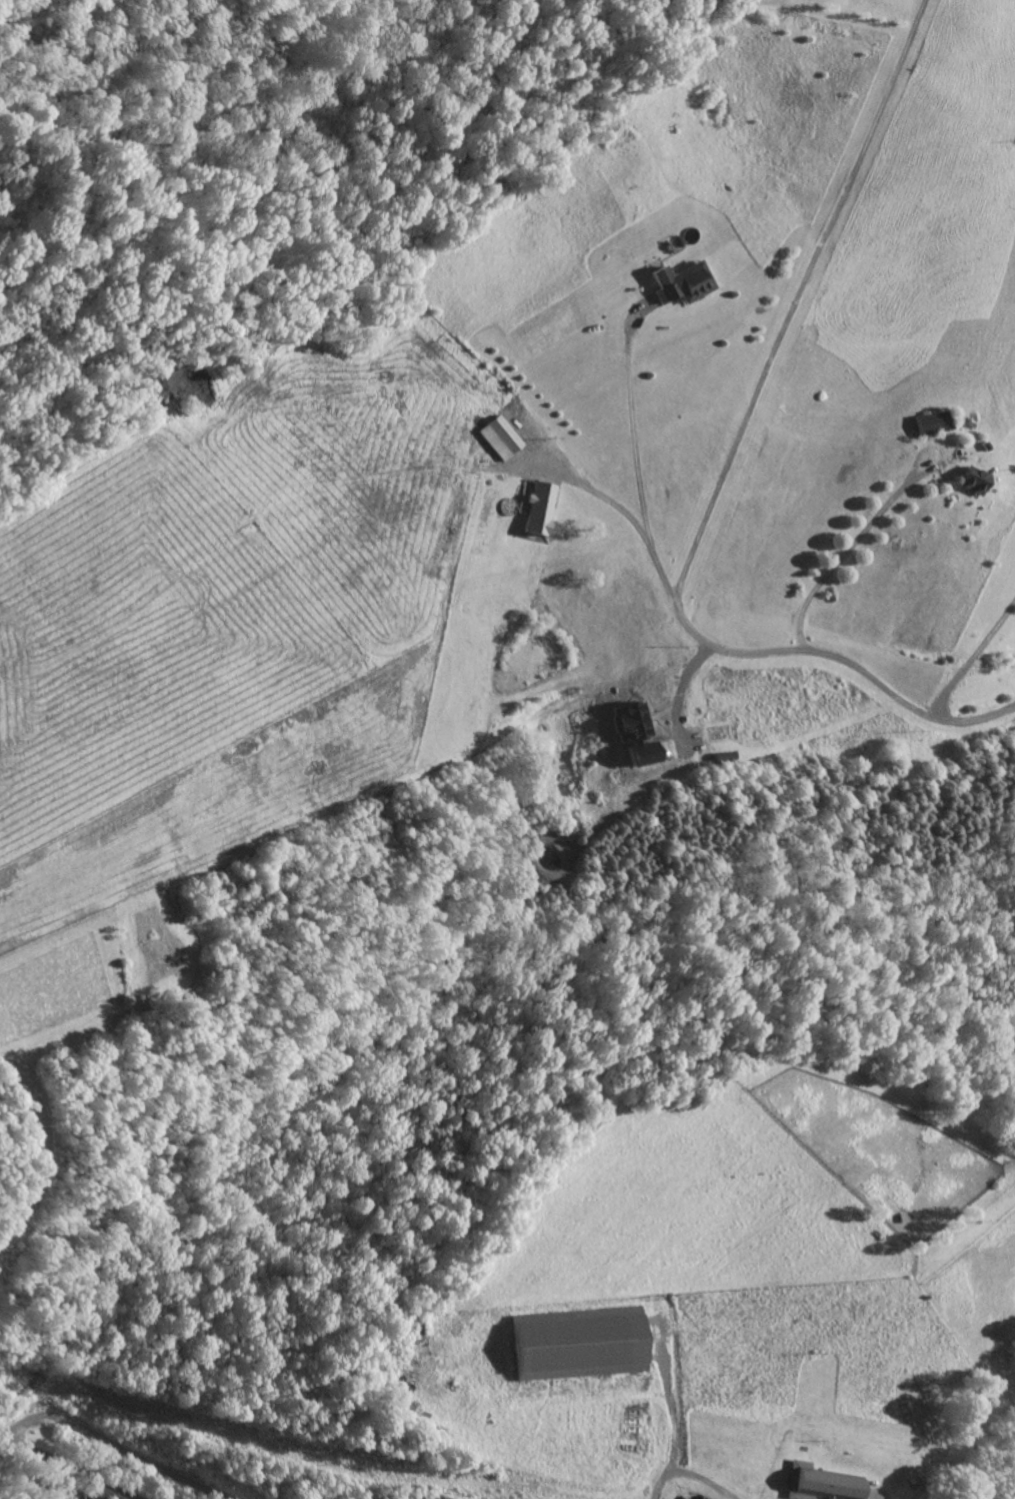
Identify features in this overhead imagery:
building: (684, 285)
road: (800, 303)
building: (936, 424)
road: (635, 427)
building: (501, 440)
building: (974, 483)
building: (539, 510)
road: (850, 548)
road: (754, 654)
building: (592, 1347)
road: (673, 1407)
road: (114, 1445)
road: (67, 1467)
road: (689, 1475)
building: (822, 1484)

